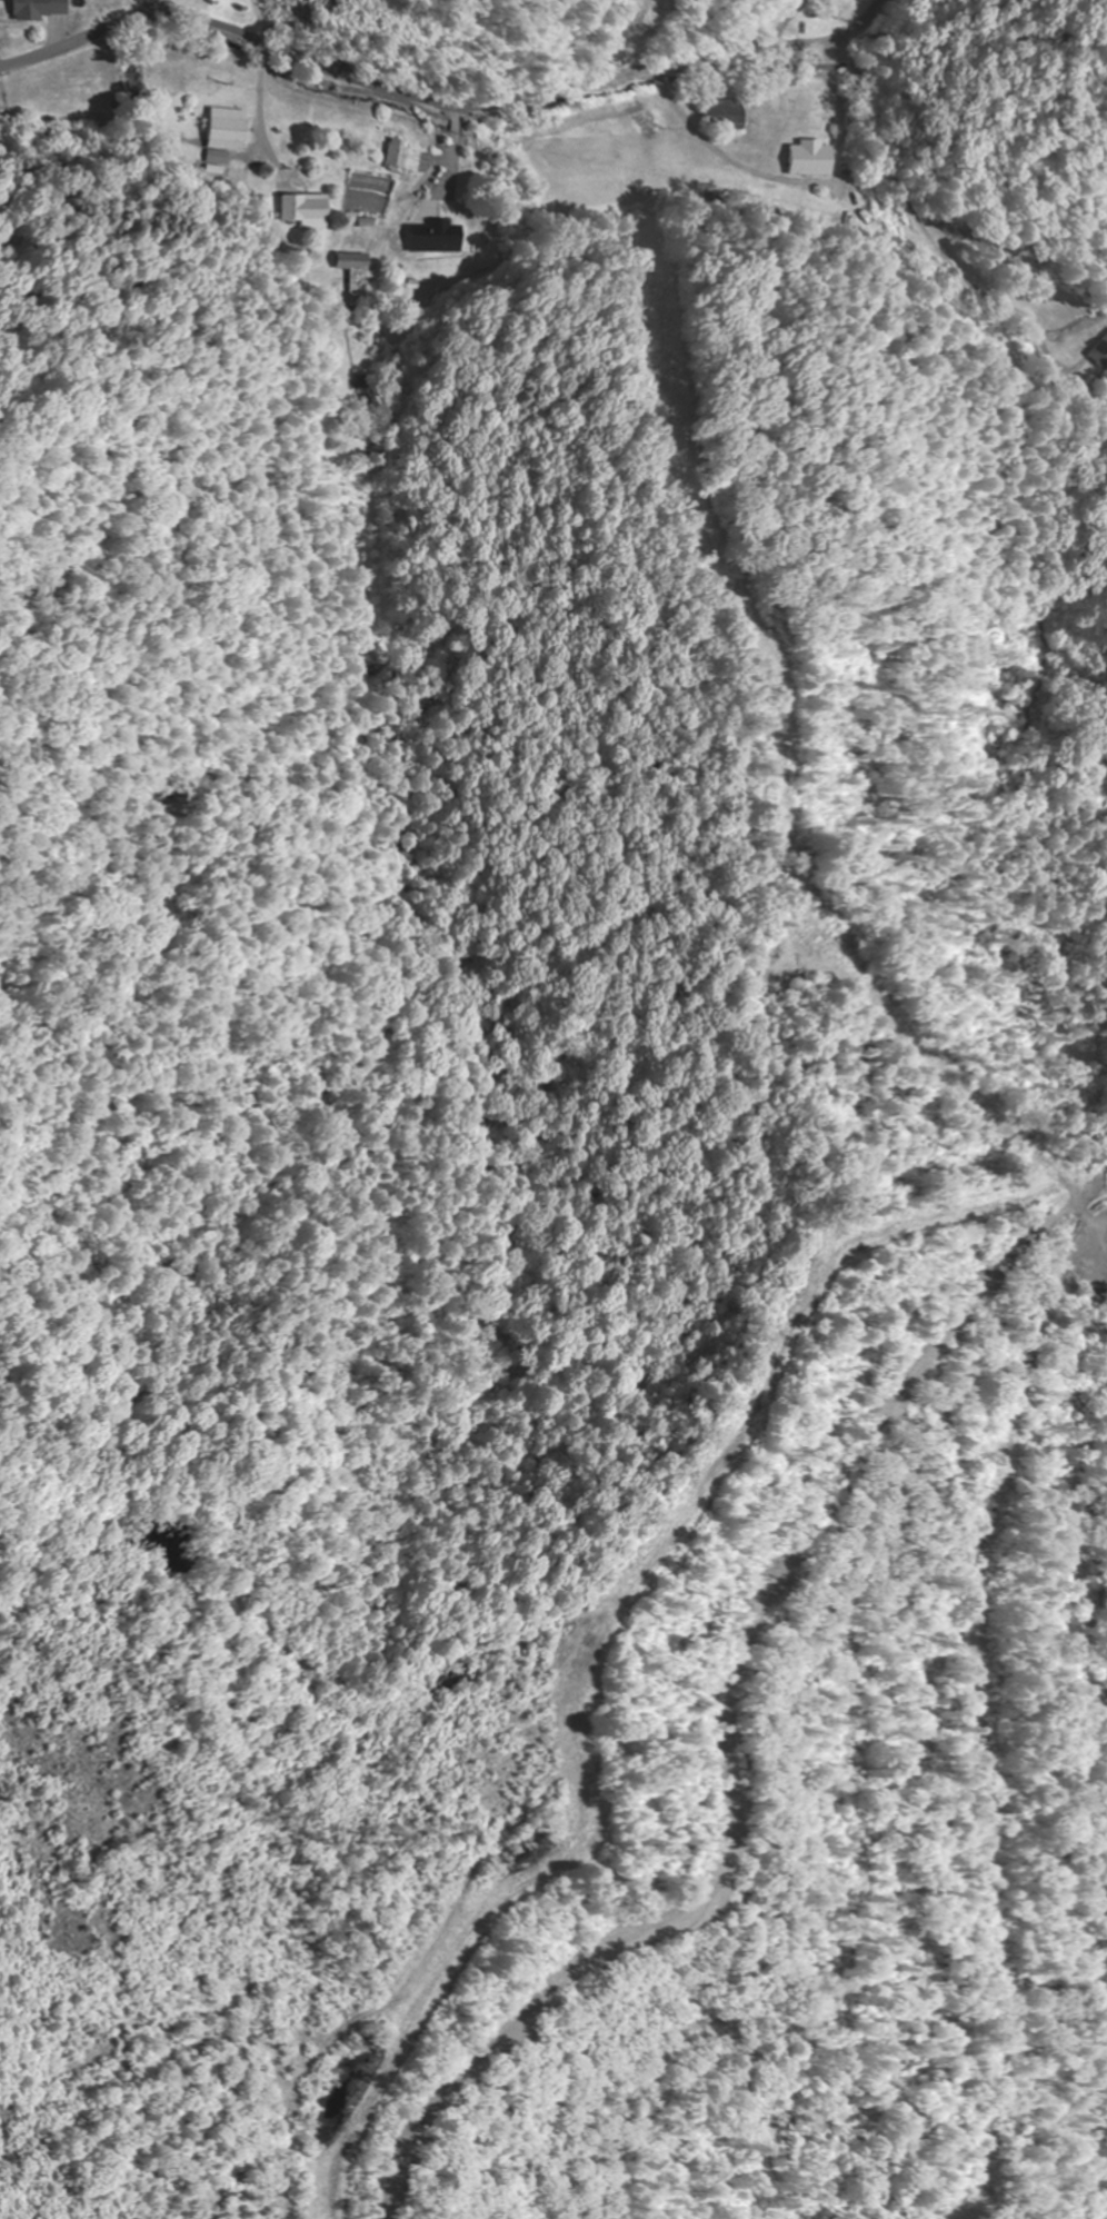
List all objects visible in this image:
building: (6, 0)
building: (48, 10)
road: (164, 10)
road: (445, 101)
building: (726, 116)
building: (227, 136)
building: (403, 158)
building: (812, 159)
building: (305, 209)
road: (927, 229)
building: (431, 237)
building: (355, 276)
building: (1098, 352)

